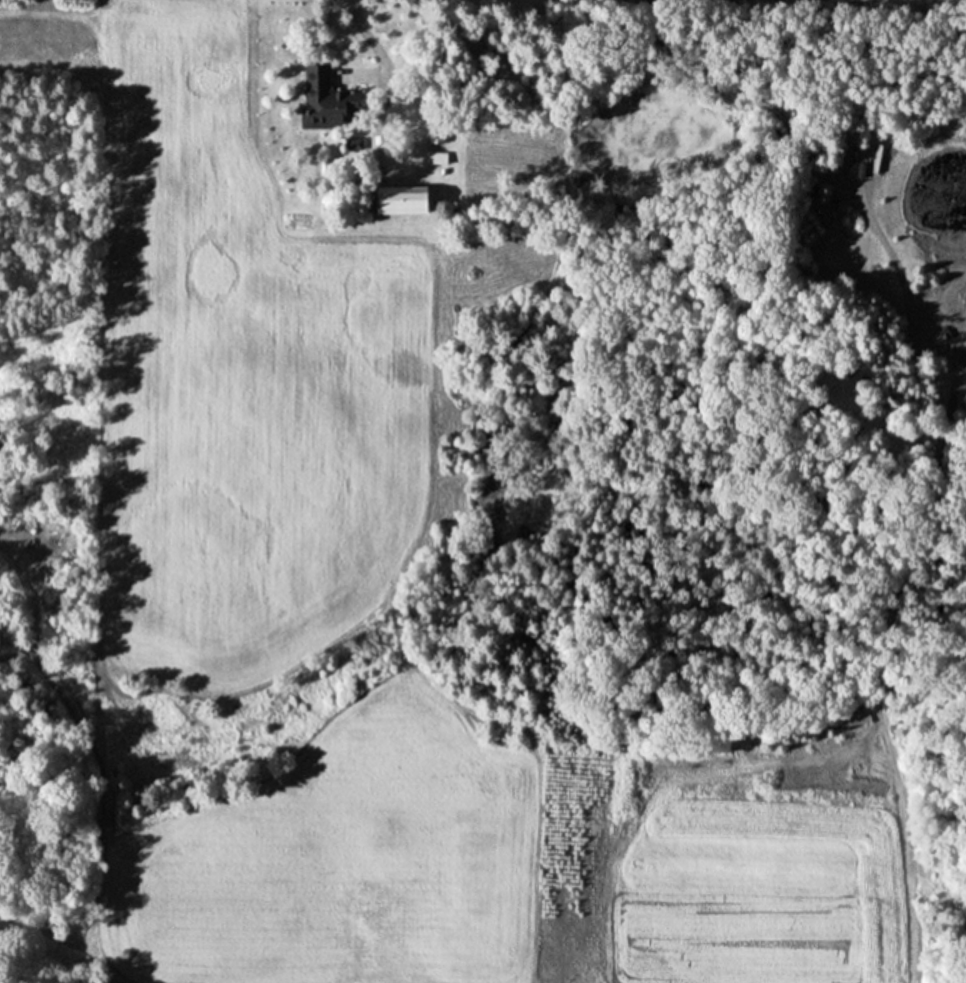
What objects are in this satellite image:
road: (367, 40)
building: (324, 97)
building: (434, 158)
building: (396, 200)
building: (857, 718)

